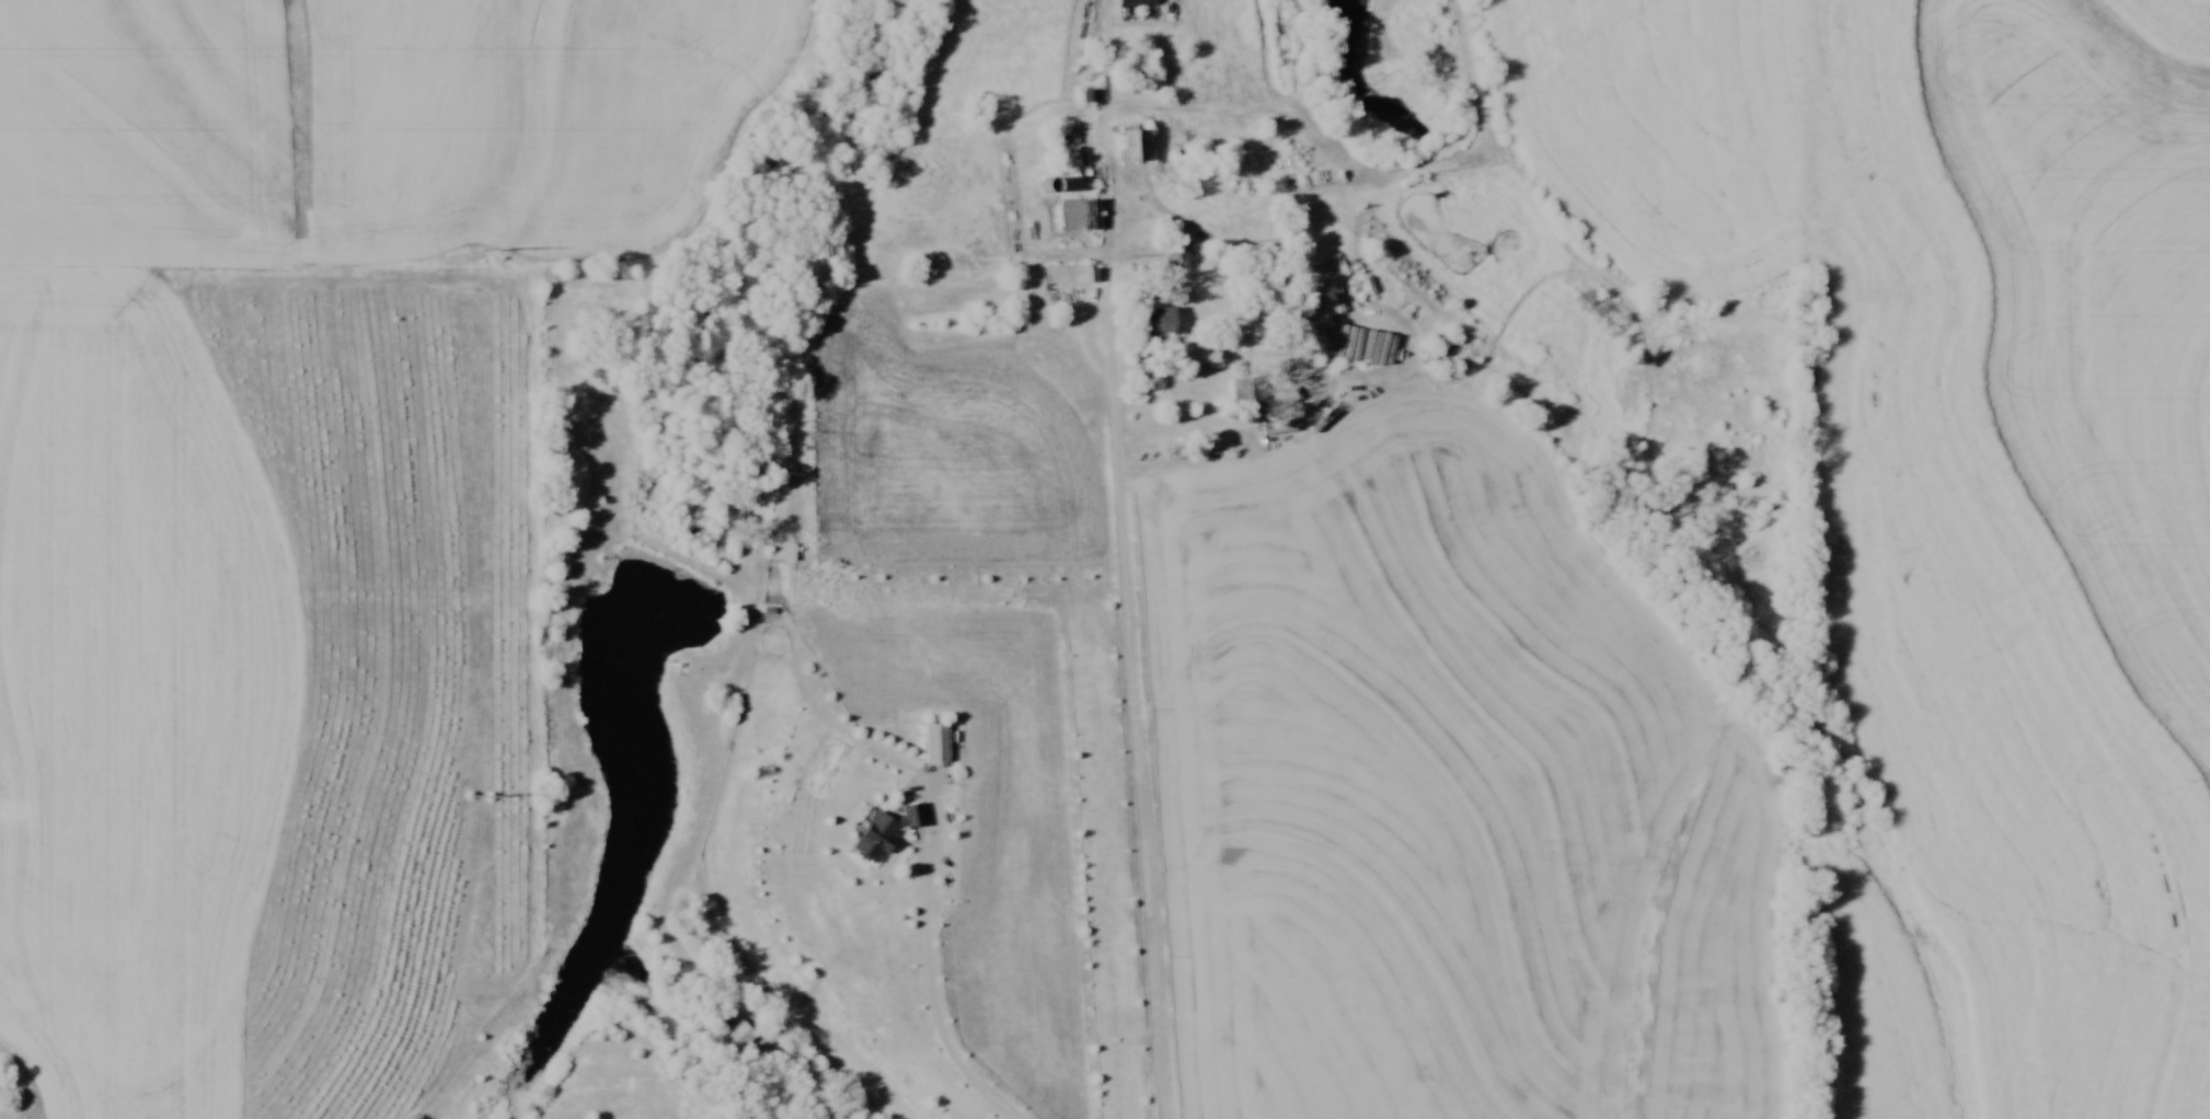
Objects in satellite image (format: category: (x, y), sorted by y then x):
building: (1133, 146)
building: (1072, 214)
power tower: (481, 247)
building: (1066, 274)
building: (1160, 321)
road: (1170, 434)
building: (781, 551)
road: (1133, 716)
building: (935, 743)
power tower: (482, 799)
building: (885, 832)
road: (928, 996)

